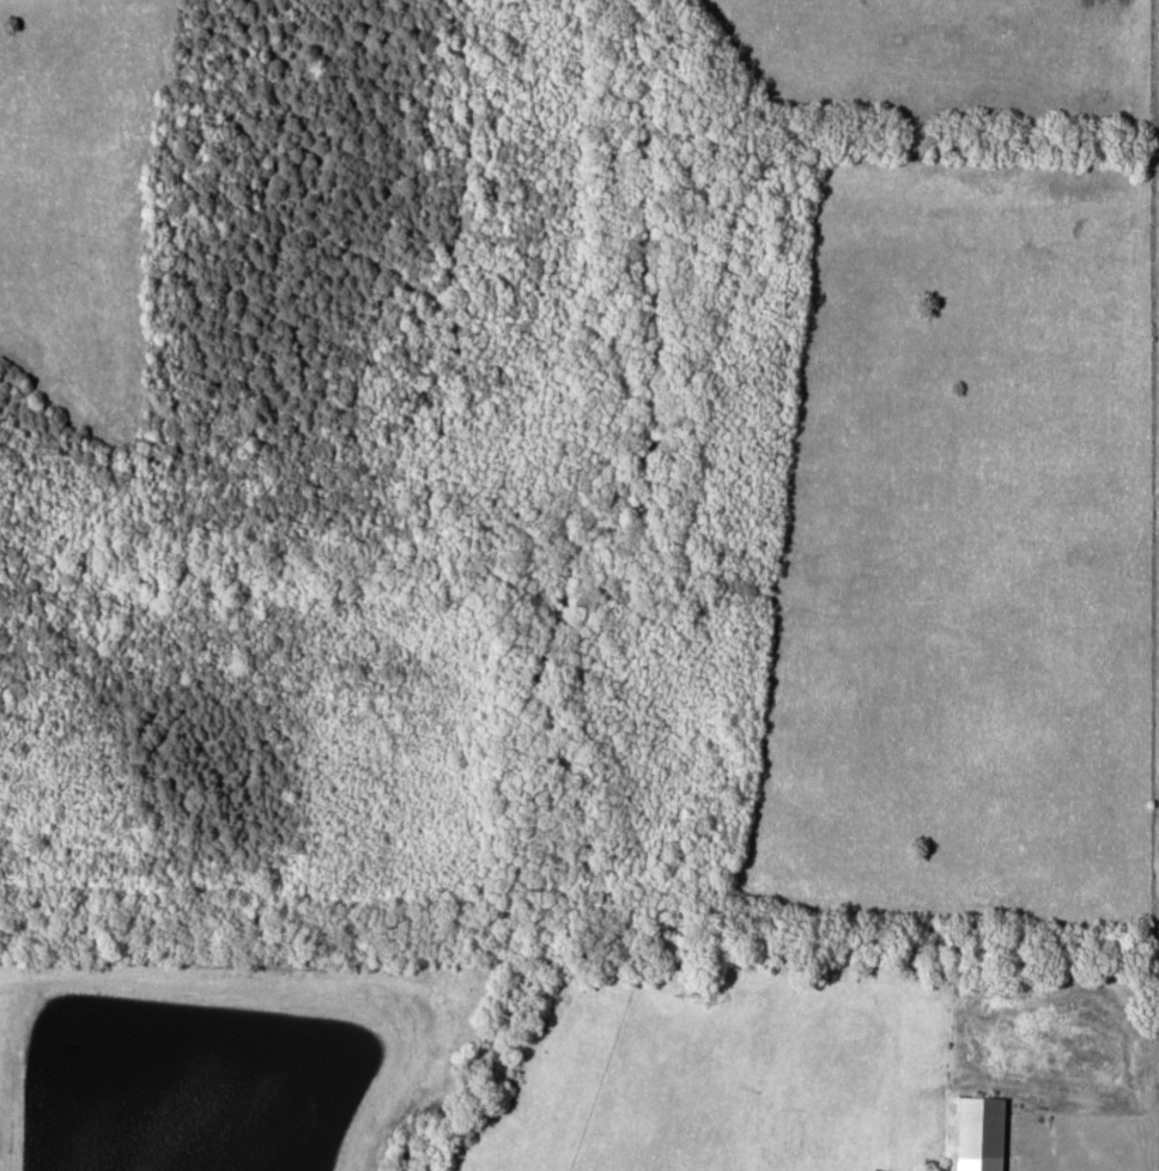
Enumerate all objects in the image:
building: (983, 1163)

